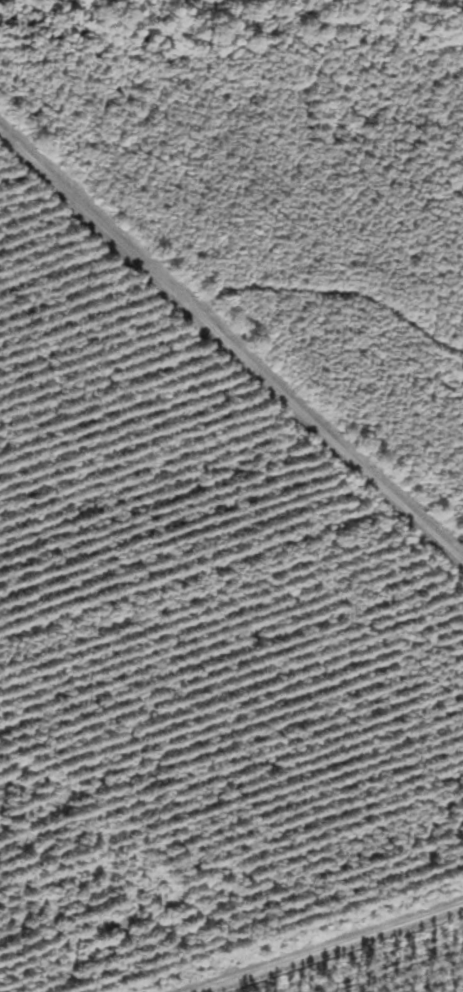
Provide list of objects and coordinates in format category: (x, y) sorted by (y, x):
road: (232, 354)

